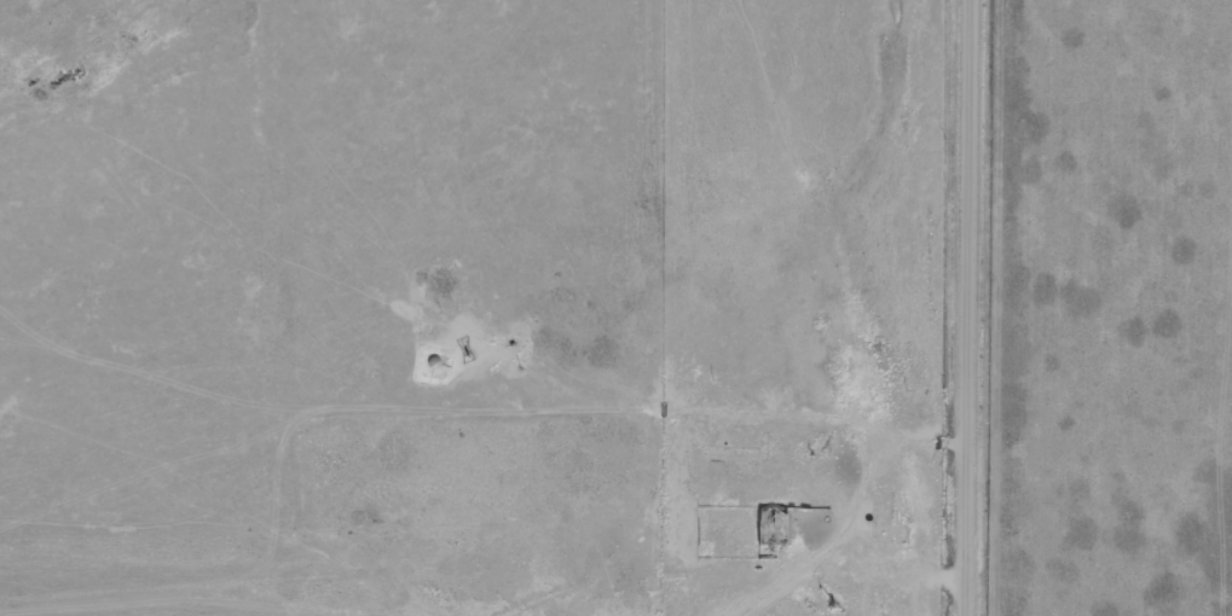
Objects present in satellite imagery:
road: (973, 308)

